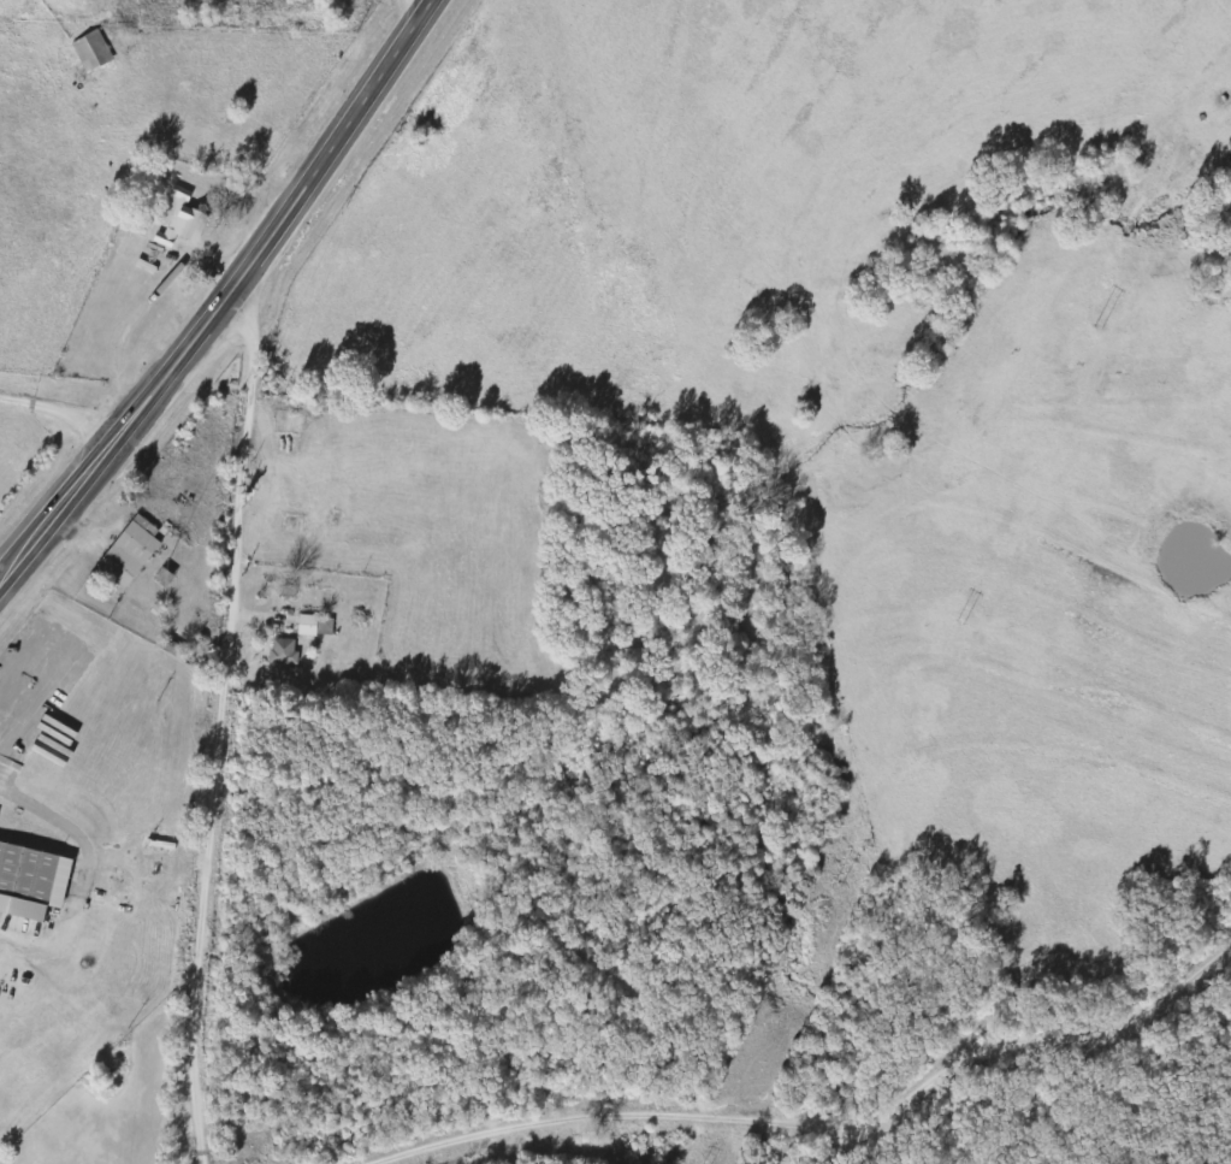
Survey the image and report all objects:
building: (93, 52)
building: (180, 195)
road: (231, 301)
power tower: (1099, 326)
building: (131, 554)
power tower: (959, 620)
building: (316, 627)
building: (285, 654)
road: (218, 729)
power tower: (836, 880)
building: (31, 882)
road: (825, 1127)

